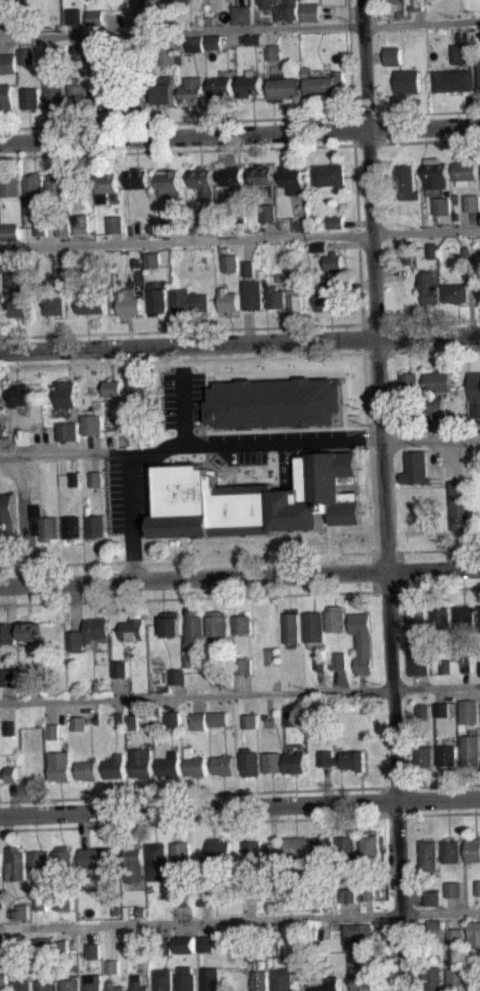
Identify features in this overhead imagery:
building: (50, 0)
building: (139, 0)
building: (182, 0)
building: (221, 1)
building: (390, 1)
building: (167, 2)
road: (240, 3)
building: (266, 3)
building: (415, 5)
building: (288, 10)
building: (311, 12)
building: (140, 13)
building: (241, 14)
building: (15, 15)
building: (73, 16)
road: (418, 16)
building: (94, 17)
road: (267, 19)
road: (239, 29)
building: (253, 38)
building: (213, 41)
building: (194, 43)
building: (272, 51)
building: (78, 52)
building: (97, 53)
building: (462, 53)
building: (167, 54)
building: (25, 55)
building: (392, 55)
building: (7, 63)
building: (479, 71)
building: (453, 80)
building: (407, 81)
building: (325, 83)
building: (249, 84)
building: (284, 86)
building: (134, 88)
building: (220, 88)
building: (191, 89)
building: (163, 90)
building: (53, 95)
building: (75, 95)
building: (6, 97)
building: (103, 97)
building: (30, 98)
road: (416, 112)
road: (234, 119)
road: (381, 128)
road: (240, 134)
road: (240, 148)
building: (465, 171)
building: (262, 173)
building: (436, 173)
building: (328, 174)
building: (138, 177)
building: (233, 178)
building: (293, 178)
building: (202, 181)
building: (406, 181)
building: (168, 182)
building: (9, 185)
building: (105, 185)
building: (57, 186)
building: (33, 187)
road: (385, 195)
building: (472, 202)
building: (441, 205)
building: (268, 212)
building: (239, 213)
building: (205, 218)
building: (171, 220)
building: (335, 221)
building: (116, 223)
building: (83, 224)
building: (63, 227)
building: (39, 228)
building: (335, 228)
road: (268, 229)
building: (9, 231)
road: (357, 233)
road: (240, 238)
building: (319, 246)
building: (432, 249)
building: (319, 253)
building: (407, 255)
building: (152, 260)
building: (136, 262)
building: (469, 262)
building: (230, 263)
building: (333, 263)
building: (408, 265)
building: (62, 270)
road: (389, 271)
building: (8, 279)
building: (428, 286)
building: (250, 288)
building: (479, 291)
building: (454, 292)
building: (329, 294)
building: (274, 296)
building: (157, 300)
building: (227, 300)
building: (188, 301)
building: (296, 301)
building: (128, 302)
building: (20, 304)
building: (90, 305)
road: (470, 305)
building: (54, 306)
road: (428, 321)
road: (188, 329)
road: (391, 337)
road: (240, 341)
road: (428, 350)
road: (181, 358)
building: (409, 382)
building: (115, 386)
building: (137, 387)
building: (435, 390)
building: (68, 392)
building: (19, 393)
building: (114, 394)
building: (0, 399)
building: (275, 402)
building: (476, 409)
building: (92, 424)
building: (409, 425)
road: (390, 426)
road: (434, 426)
building: (136, 427)
building: (68, 429)
building: (3, 436)
road: (430, 438)
building: (25, 443)
road: (136, 443)
building: (3, 444)
road: (68, 445)
road: (367, 445)
road: (190, 447)
parking lot: (197, 450)
road: (64, 453)
building: (416, 468)
road: (230, 472)
building: (73, 478)
building: (96, 478)
building: (97, 485)
building: (70, 486)
road: (382, 495)
building: (257, 499)
building: (461, 503)
building: (7, 513)
building: (43, 523)
building: (71, 527)
building: (95, 527)
road: (158, 538)
road: (184, 547)
road: (418, 549)
road: (372, 572)
road: (240, 576)
road: (426, 588)
building: (465, 617)
building: (335, 618)
building: (441, 621)
building: (241, 623)
building: (170, 624)
building: (215, 624)
building: (417, 625)
building: (195, 627)
building: (290, 627)
building: (313, 628)
building: (133, 629)
building: (29, 630)
building: (7, 633)
building: (88, 633)
building: (362, 640)
building: (188, 658)
building: (338, 660)
building: (321, 661)
building: (442, 664)
building: (466, 664)
building: (243, 665)
building: (419, 665)
building: (120, 669)
building: (177, 676)
building: (9, 677)
building: (225, 678)
building: (9, 686)
road: (240, 693)
building: (442, 708)
building: (423, 710)
building: (469, 710)
building: (442, 716)
building: (218, 718)
building: (291, 718)
building: (423, 718)
building: (119, 719)
building: (171, 720)
building: (198, 720)
building: (267, 720)
building: (132, 721)
building: (249, 721)
building: (80, 723)
building: (11, 727)
building: (133, 728)
building: (250, 728)
building: (54, 731)
building: (12, 734)
building: (471, 750)
building: (447, 755)
building: (424, 756)
building: (342, 759)
building: (294, 761)
building: (141, 762)
building: (250, 762)
building: (272, 762)
building: (169, 764)
building: (223, 764)
building: (60, 766)
building: (195, 766)
building: (115, 767)
building: (87, 770)
building: (8, 774)
road: (431, 784)
road: (206, 793)
road: (407, 800)
road: (240, 808)
road: (239, 820)
building: (370, 845)
building: (347, 847)
building: (288, 848)
building: (473, 849)
building: (451, 850)
building: (252, 851)
building: (217, 852)
building: (324, 852)
building: (180, 853)
building: (428, 854)
building: (62, 858)
building: (95, 858)
building: (39, 861)
building: (158, 862)
building: (0, 863)
building: (15, 863)
building: (134, 864)
building: (478, 887)
building: (454, 888)
building: (369, 891)
building: (205, 894)
building: (248, 894)
building: (347, 894)
building: (433, 897)
building: (2, 898)
building: (185, 898)
building: (63, 899)
building: (347, 901)
building: (40, 902)
building: (433, 904)
building: (207, 905)
building: (21, 909)
building: (142, 911)
building: (23, 918)
road: (239, 919)
building: (436, 924)
building: (360, 933)
building: (475, 933)
building: (455, 936)
building: (2, 939)
building: (205, 943)
building: (185, 944)
building: (165, 945)
building: (3, 946)
building: (43, 947)
building: (62, 948)
building: (275, 949)
building: (93, 950)
building: (135, 950)
building: (357, 958)
building: (303, 962)
building: (113, 967)
building: (435, 978)
building: (162, 979)
building: (185, 979)
building: (210, 979)
building: (282, 979)
building: (460, 979)
building: (4, 980)
building: (260, 980)
building: (92, 982)
building: (365, 982)
building: (326, 983)
building: (22, 984)
building: (71, 984)
building: (45, 985)
building: (116, 985)
building: (139, 986)

